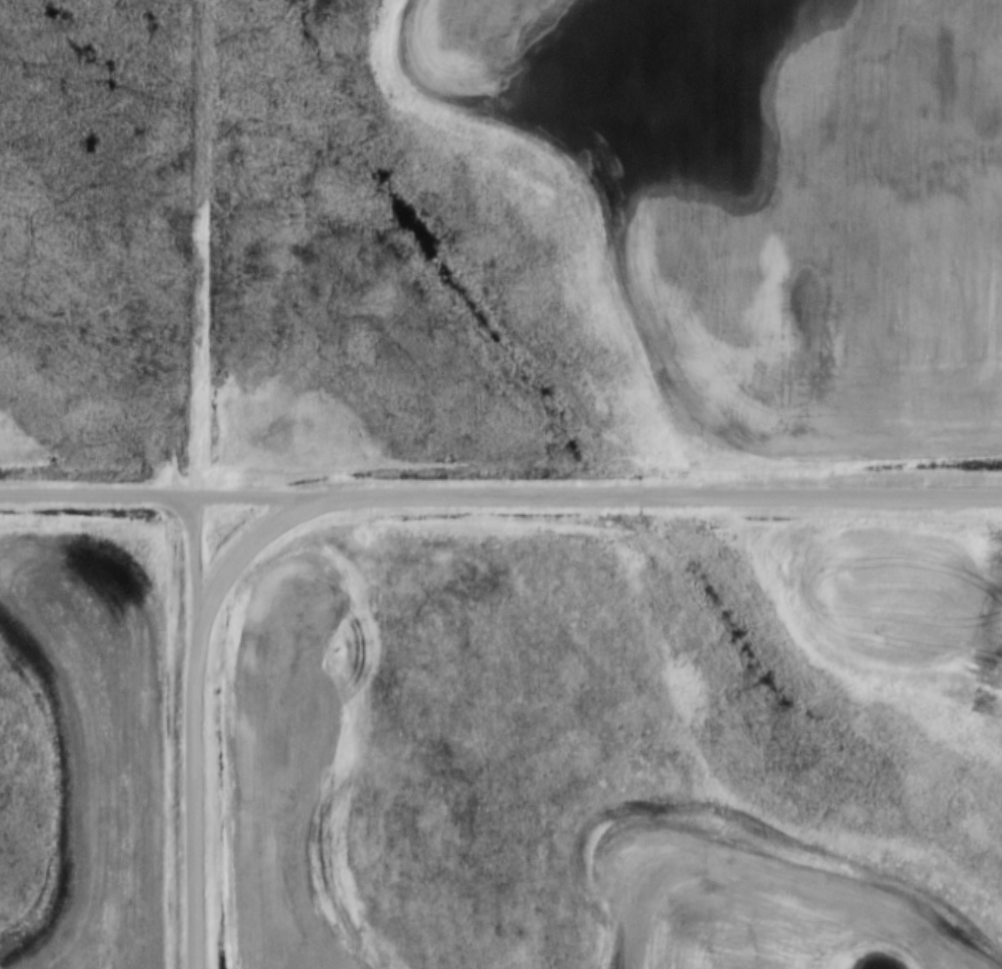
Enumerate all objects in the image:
road: (167, 496)
road: (668, 498)
road: (241, 550)
road: (193, 572)
road: (193, 808)

